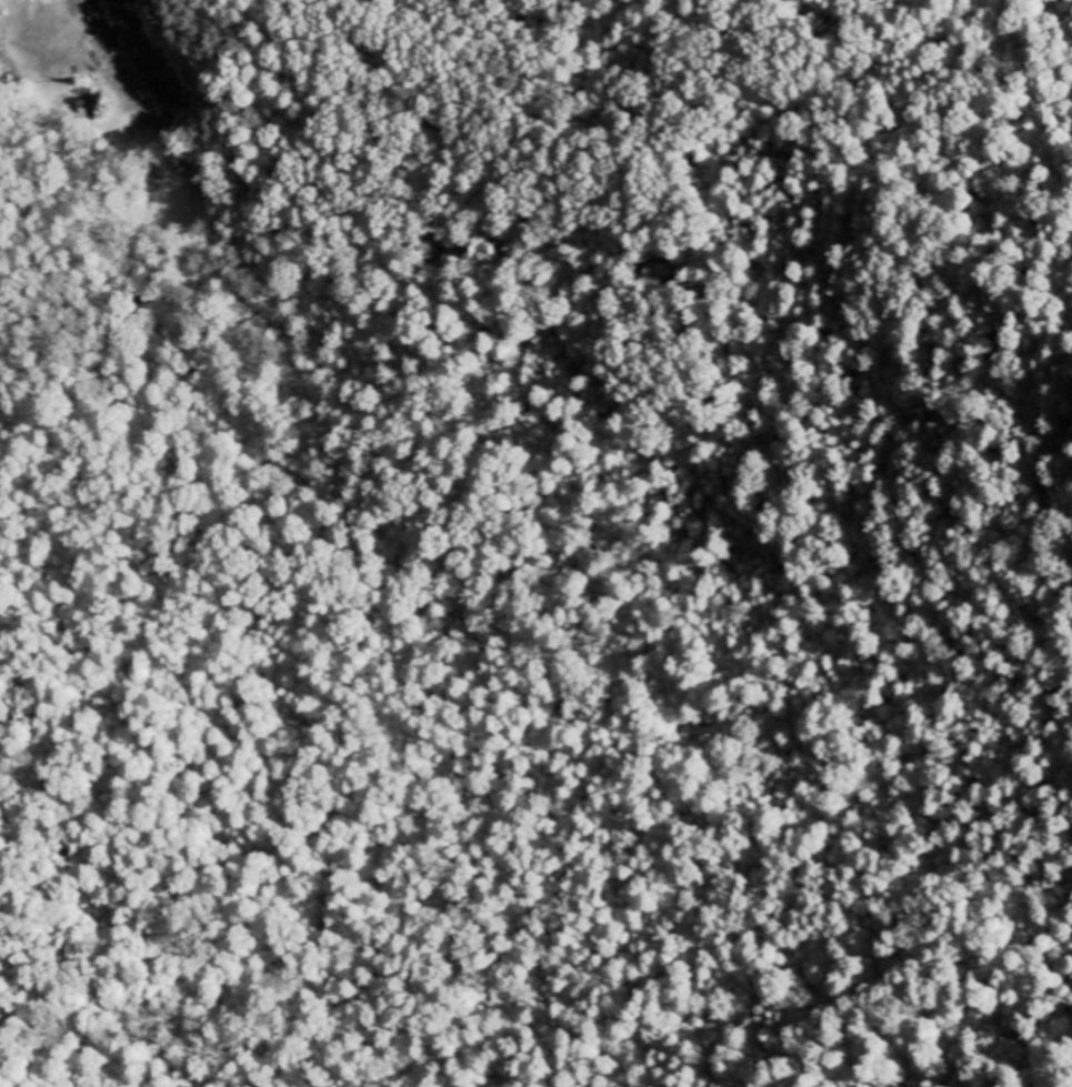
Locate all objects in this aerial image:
road: (86, 17)

